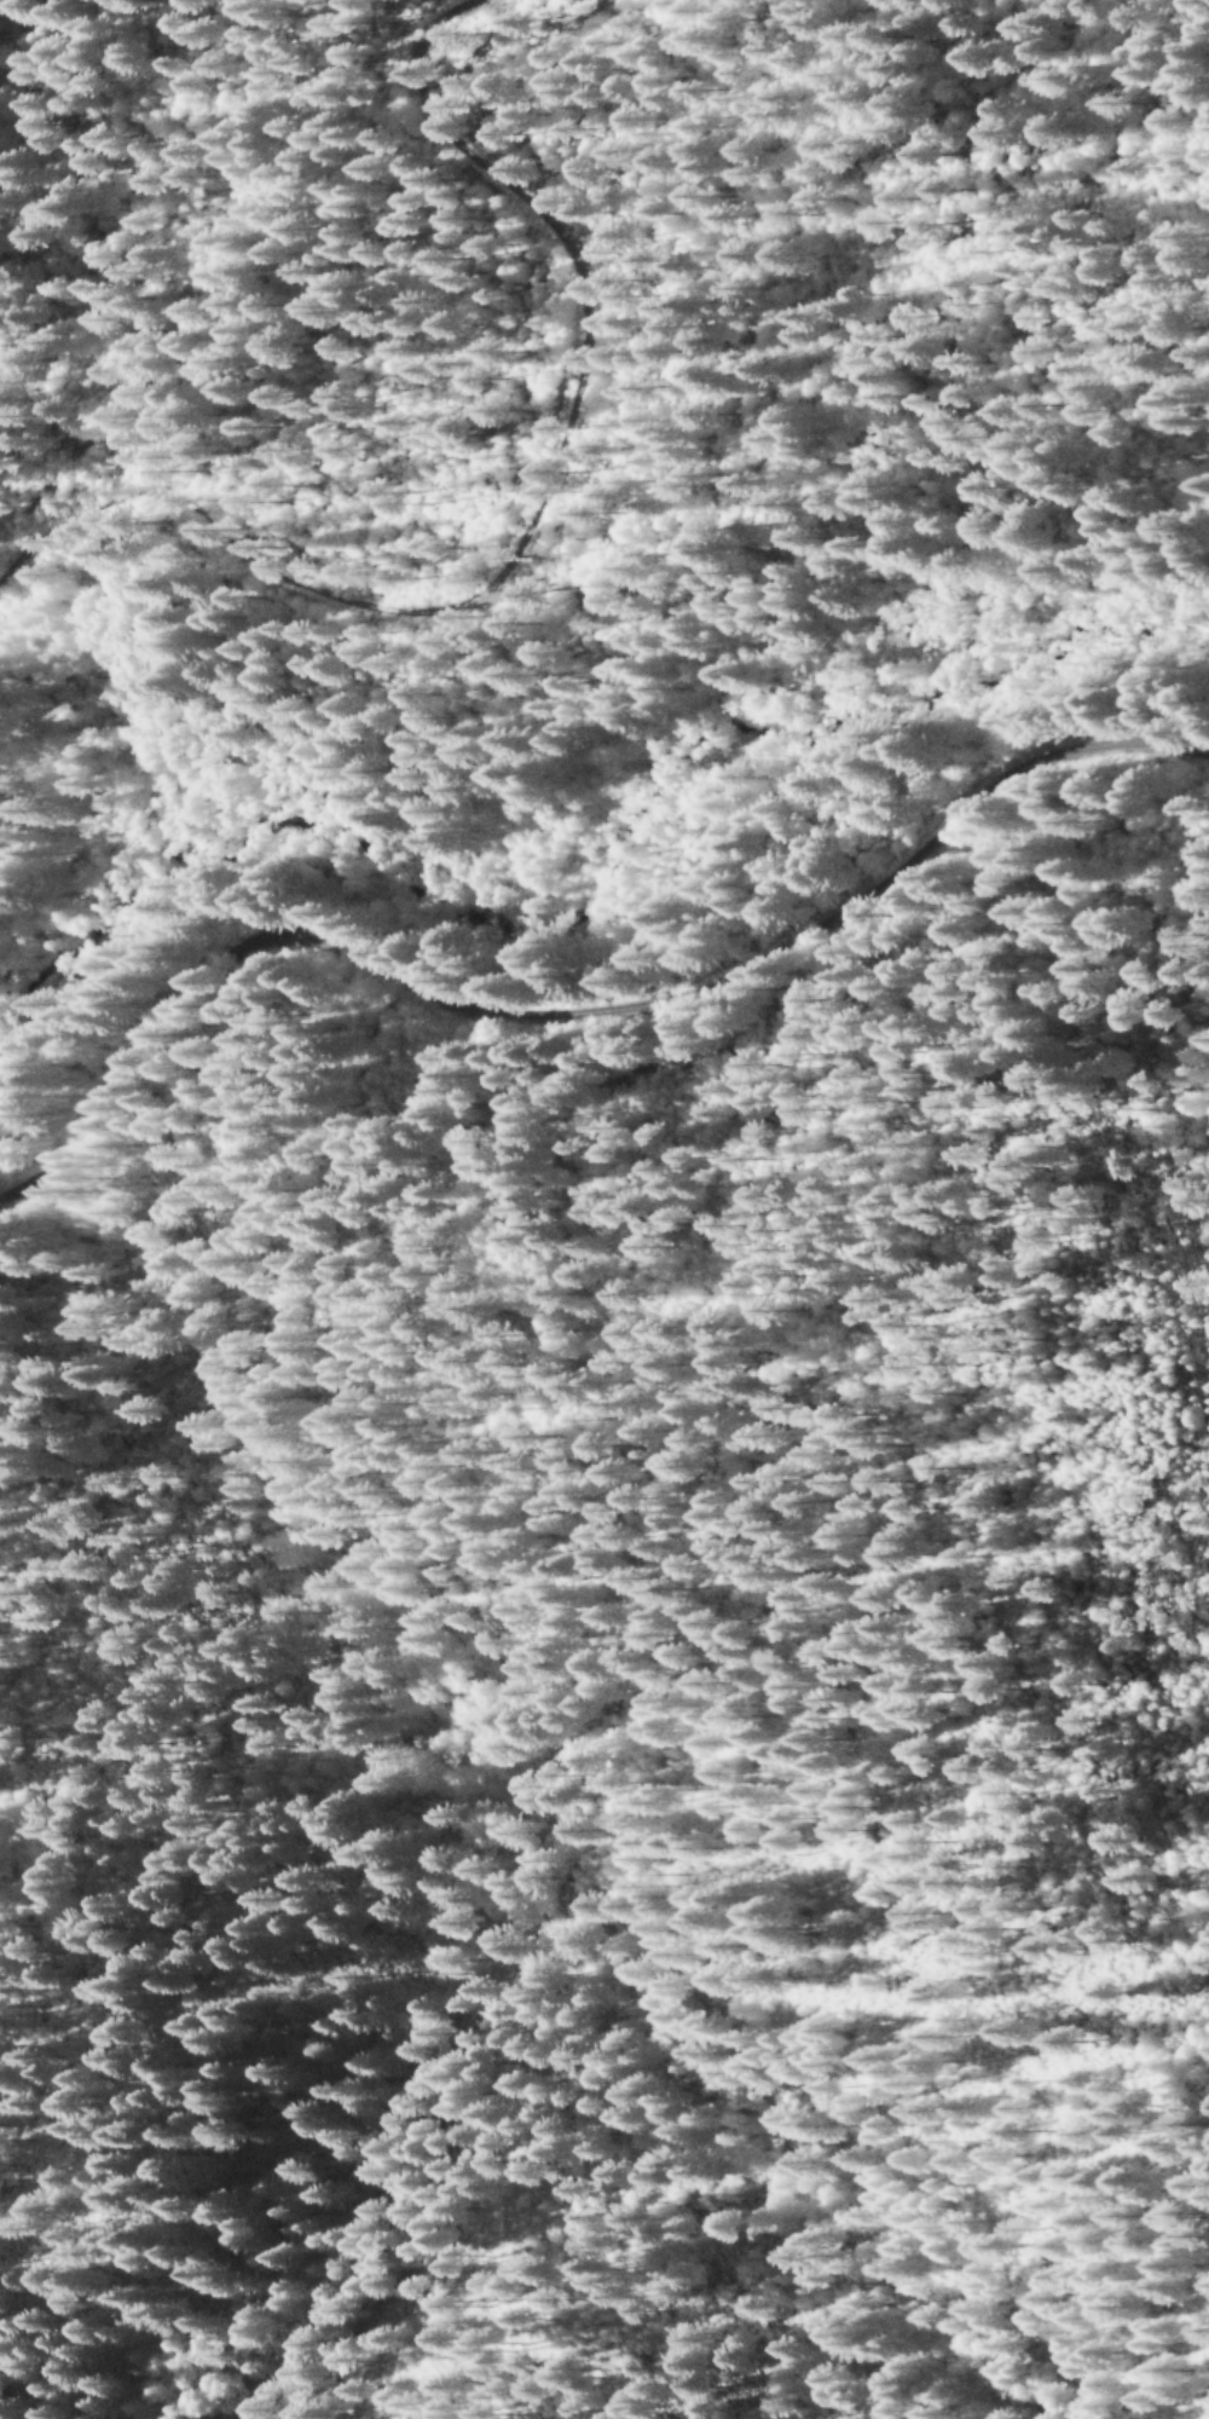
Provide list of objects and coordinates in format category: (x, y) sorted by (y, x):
road: (536, 539)
river: (608, 785)
road: (584, 1011)

